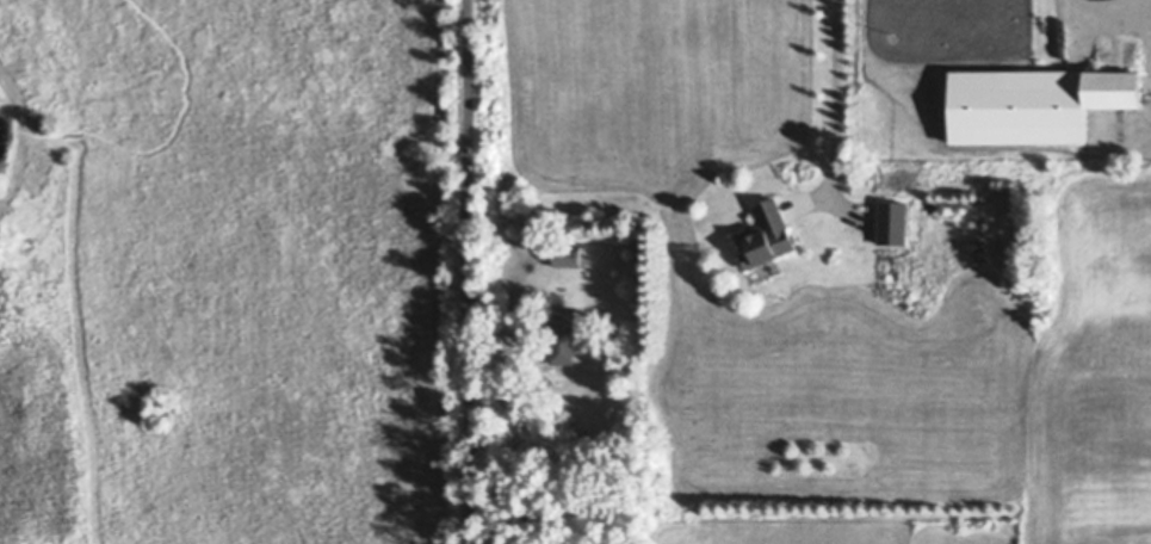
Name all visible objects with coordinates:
building: (1112, 88)
road: (836, 94)
building: (873, 174)
building: (527, 198)
building: (891, 222)
building: (763, 235)
building: (565, 259)
building: (762, 268)
road: (471, 271)
building: (559, 335)
building: (594, 418)

